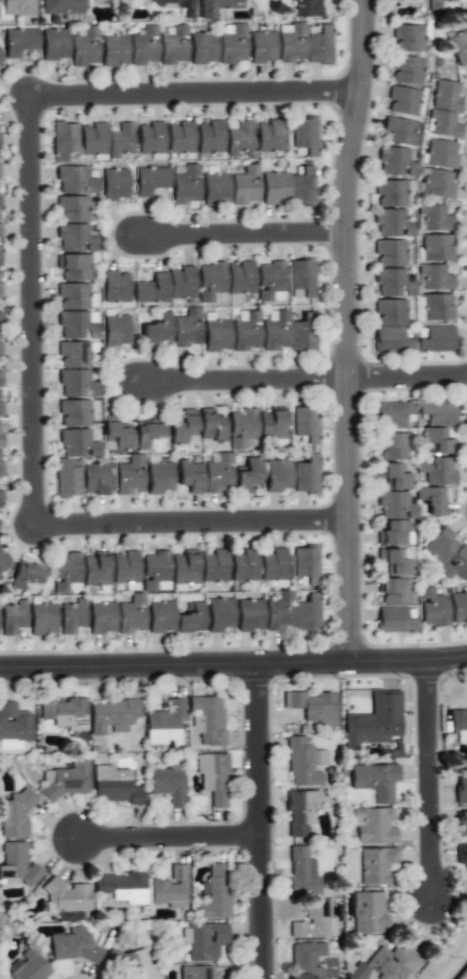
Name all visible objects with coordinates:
building: (402, 0)
building: (466, 0)
building: (176, 5)
building: (434, 5)
building: (18, 7)
building: (216, 7)
building: (64, 8)
building: (307, 8)
building: (408, 38)
building: (19, 41)
building: (291, 42)
building: (54, 44)
building: (319, 44)
building: (143, 45)
building: (173, 45)
building: (232, 45)
building: (84, 46)
building: (262, 46)
building: (203, 47)
building: (458, 47)
building: (114, 50)
building: (1, 60)
building: (407, 69)
road: (191, 92)
building: (401, 100)
building: (445, 108)
building: (401, 130)
building: (209, 135)
building: (269, 135)
building: (304, 136)
building: (180, 137)
building: (239, 138)
building: (64, 139)
building: (93, 140)
building: (120, 140)
building: (441, 153)
building: (395, 162)
building: (74, 180)
building: (151, 180)
building: (436, 183)
building: (114, 184)
building: (245, 185)
building: (186, 186)
building: (274, 187)
building: (302, 187)
building: (215, 188)
building: (390, 193)
building: (434, 217)
building: (392, 223)
building: (73, 225)
road: (240, 232)
building: (437, 247)
building: (389, 253)
building: (0, 260)
building: (74, 266)
building: (302, 276)
building: (240, 277)
building: (434, 277)
building: (270, 279)
building: (210, 280)
building: (181, 282)
building: (393, 282)
building: (115, 286)
building: (152, 289)
building: (0, 290)
building: (72, 296)
building: (433, 307)
road: (28, 309)
building: (390, 312)
building: (0, 318)
building: (76, 325)
building: (174, 328)
building: (116, 330)
road: (343, 330)
building: (246, 331)
building: (288, 332)
building: (217, 335)
building: (0, 338)
building: (434, 338)
building: (393, 339)
building: (73, 354)
building: (0, 378)
road: (405, 378)
road: (240, 379)
building: (76, 384)
building: (0, 403)
building: (74, 412)
building: (393, 414)
building: (306, 423)
building: (272, 424)
building: (437, 424)
building: (211, 425)
building: (183, 426)
building: (242, 427)
building: (115, 434)
building: (148, 434)
building: (1, 439)
building: (77, 443)
building: (391, 446)
building: (0, 463)
building: (437, 470)
building: (218, 474)
building: (248, 474)
building: (306, 474)
building: (129, 475)
building: (277, 475)
building: (190, 476)
building: (394, 476)
building: (158, 477)
building: (95, 478)
building: (67, 479)
building: (0, 497)
building: (432, 499)
building: (395, 518)
road: (188, 523)
building: (447, 553)
building: (3, 560)
building: (395, 560)
building: (273, 564)
building: (305, 564)
building: (214, 565)
building: (244, 565)
building: (185, 566)
building: (96, 568)
building: (125, 569)
building: (155, 571)
building: (66, 572)
building: (27, 573)
building: (0, 577)
building: (184, 586)
building: (394, 590)
building: (458, 607)
building: (432, 608)
building: (279, 612)
building: (306, 613)
building: (131, 614)
building: (219, 614)
building: (249, 615)
building: (72, 616)
building: (160, 616)
building: (13, 617)
building: (190, 618)
building: (42, 619)
building: (101, 619)
building: (396, 619)
road: (233, 665)
building: (313, 706)
building: (65, 713)
building: (113, 715)
building: (207, 719)
building: (374, 720)
building: (14, 722)
building: (164, 723)
building: (459, 724)
building: (13, 744)
building: (304, 762)
building: (213, 776)
building: (67, 780)
building: (375, 780)
road: (428, 782)
building: (168, 784)
building: (115, 785)
building: (460, 788)
building: (300, 811)
building: (15, 813)
road: (245, 822)
building: (461, 824)
building: (373, 826)
road: (154, 837)
building: (461, 855)
building: (17, 865)
building: (375, 865)
building: (302, 873)
building: (123, 887)
building: (171, 888)
building: (215, 892)
building: (65, 896)
building: (368, 912)
building: (314, 921)
building: (204, 940)
building: (72, 945)
building: (305, 959)
building: (385, 964)
building: (136, 965)
building: (27, 966)
building: (197, 972)

